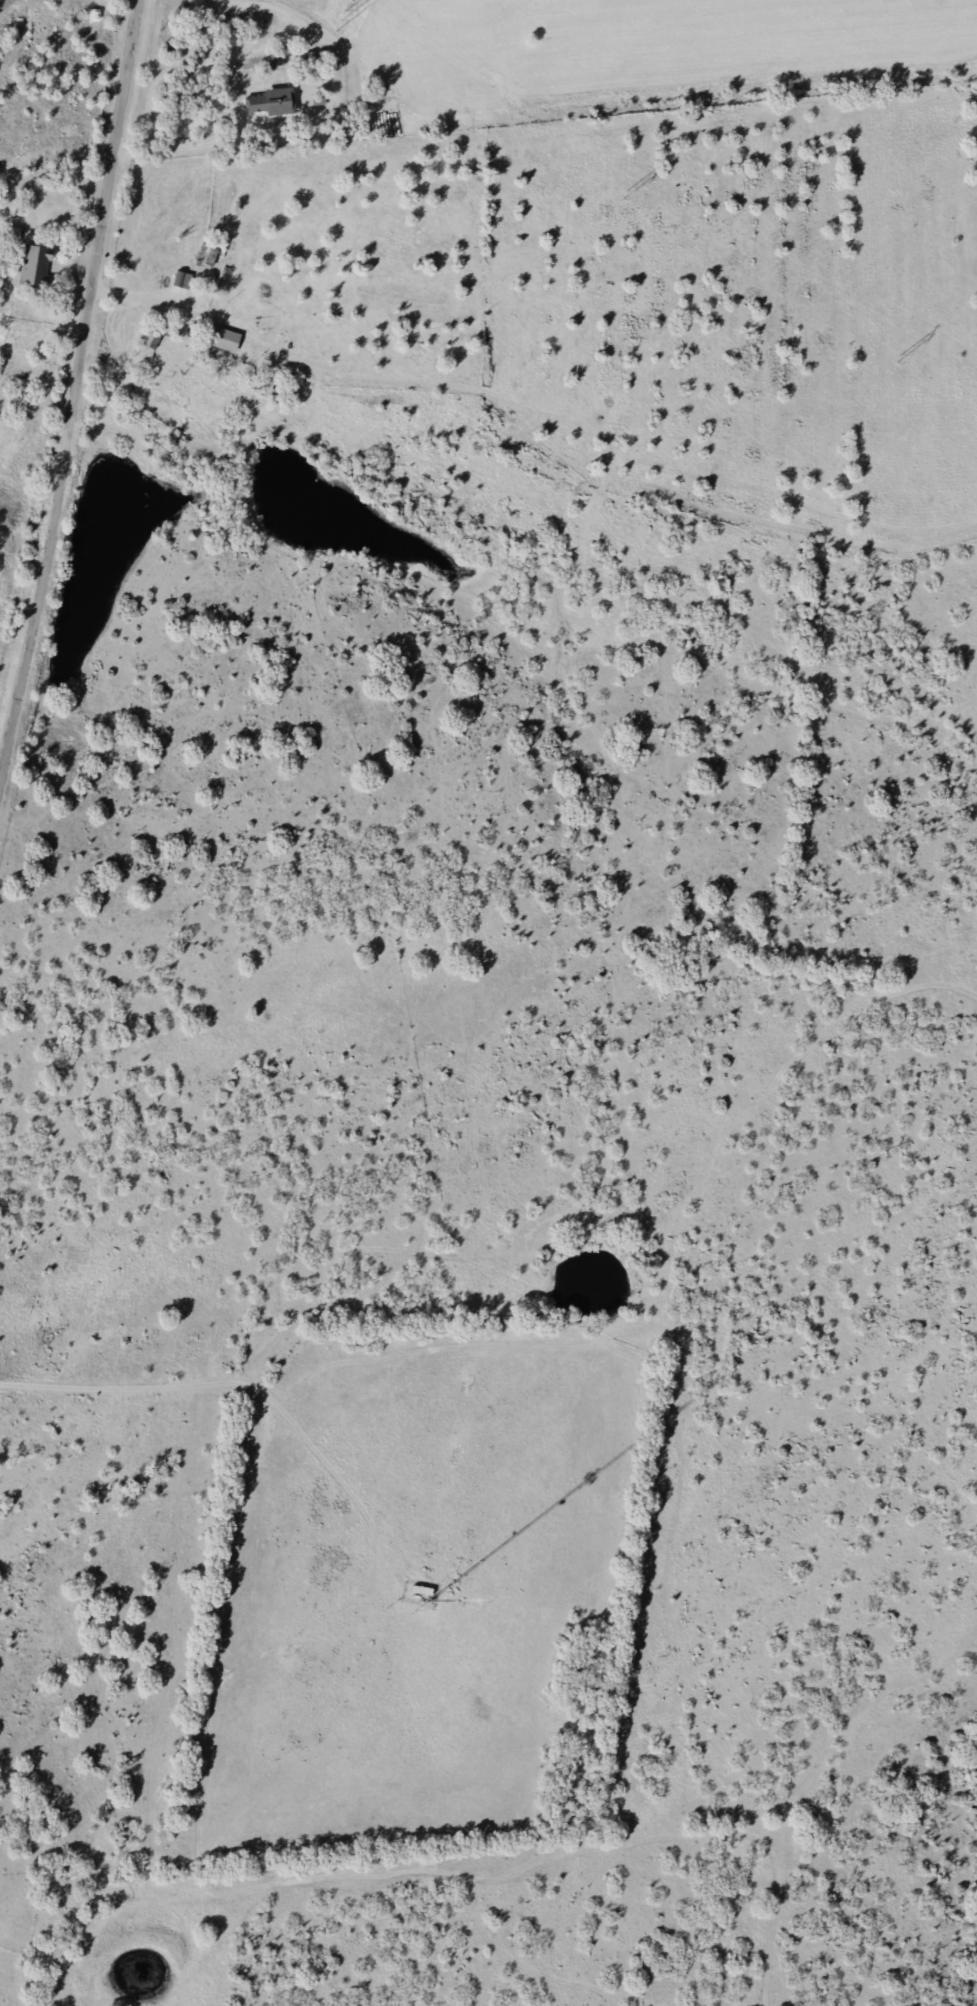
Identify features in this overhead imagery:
building: (268, 102)
building: (12, 233)
building: (204, 253)
building: (31, 266)
building: (164, 271)
building: (222, 339)
road: (284, 358)
road: (78, 383)
road: (249, 1387)

